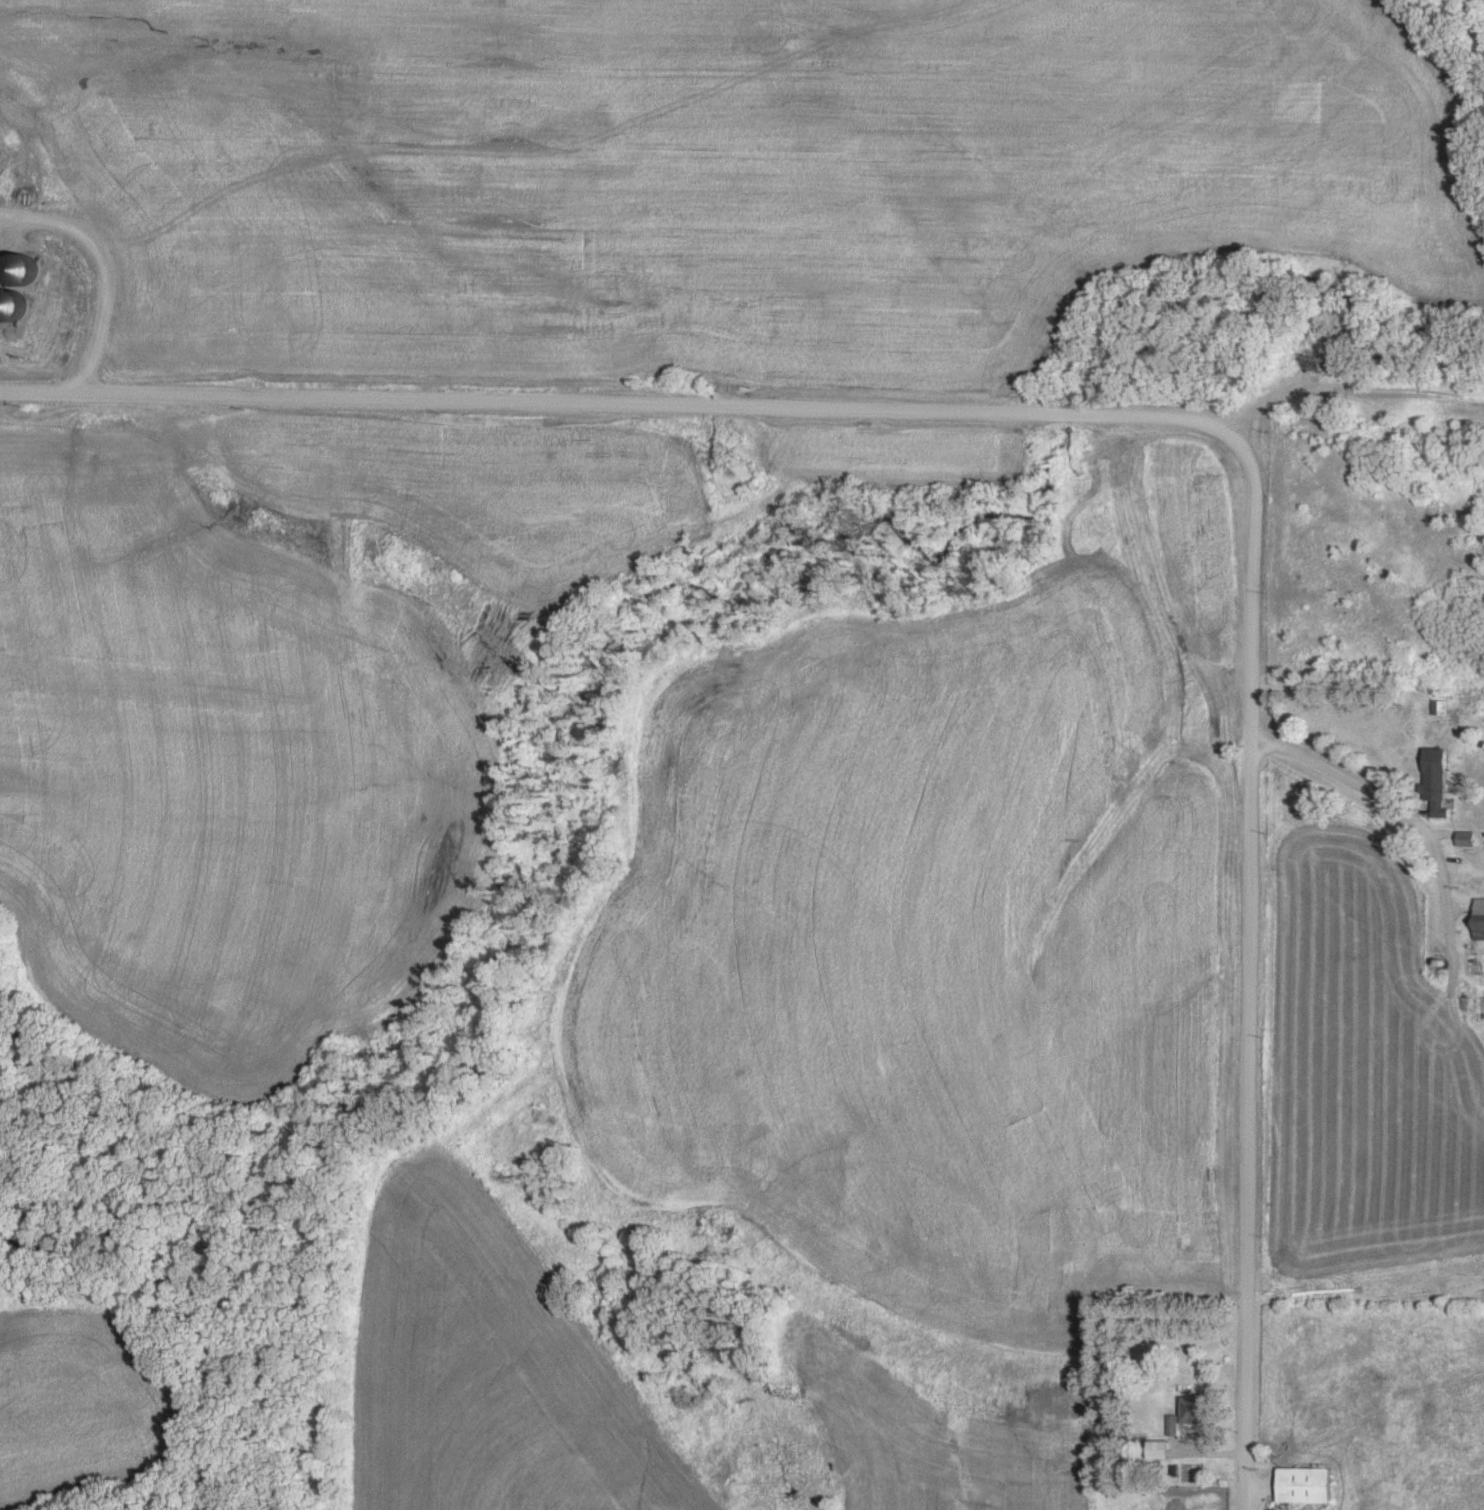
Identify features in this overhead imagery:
building: (19, 262)
storage tank: (19, 262)
building: (10, 298)
storage tank: (10, 298)
road: (1157, 416)
road: (1348, 779)
building: (1432, 779)
building: (1462, 839)
building: (1476, 919)
building: (1476, 1008)
building: (1183, 1415)
building: (1300, 1486)

